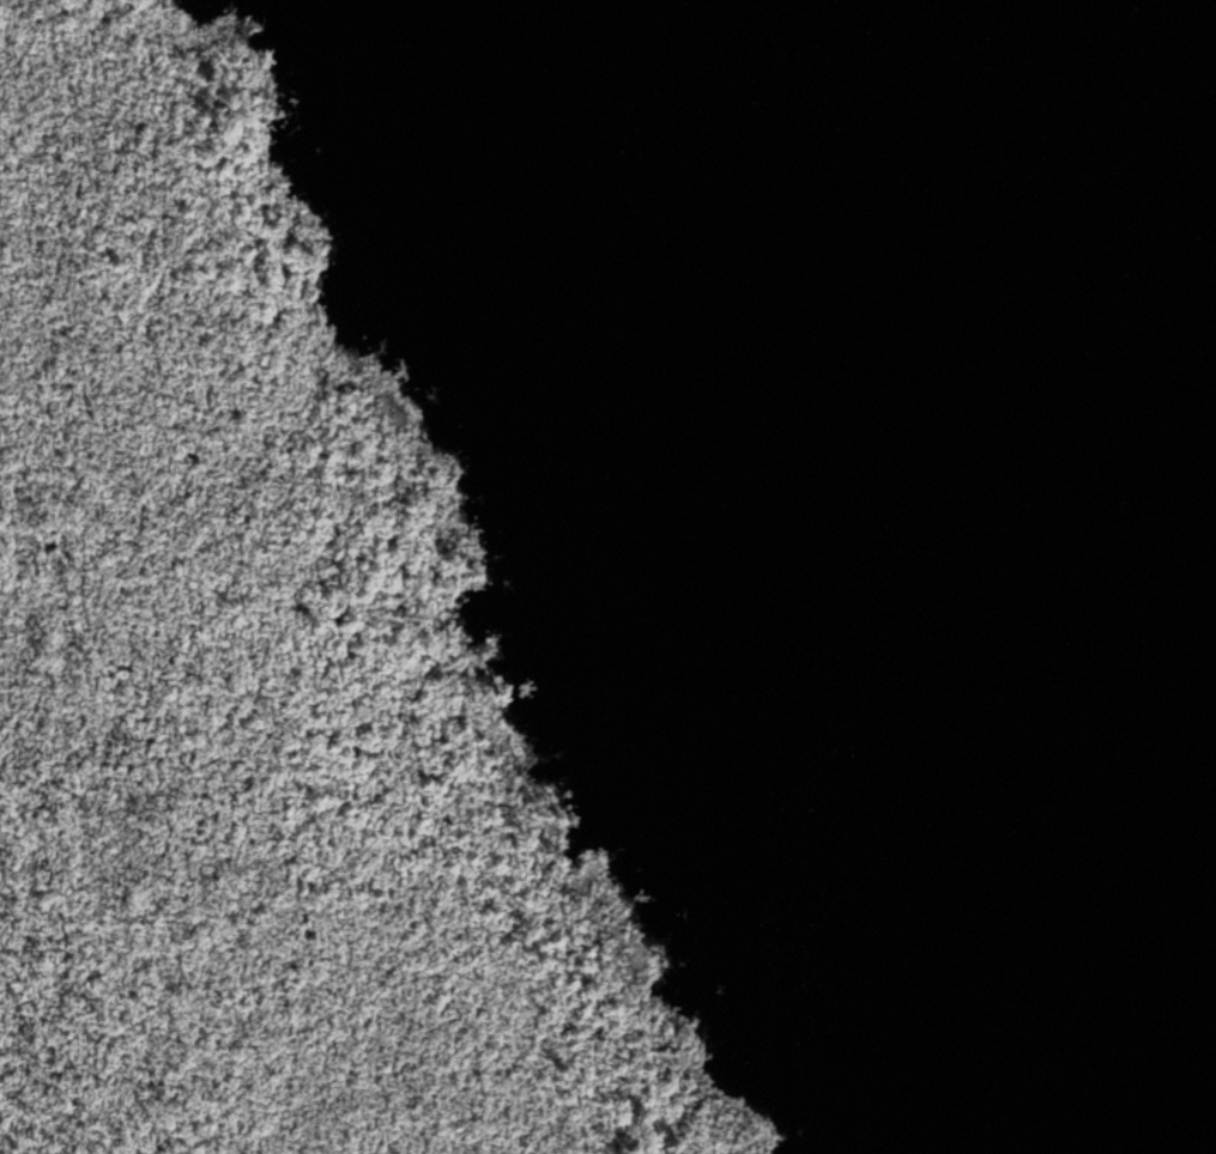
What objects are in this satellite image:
river: (1048, 298)

